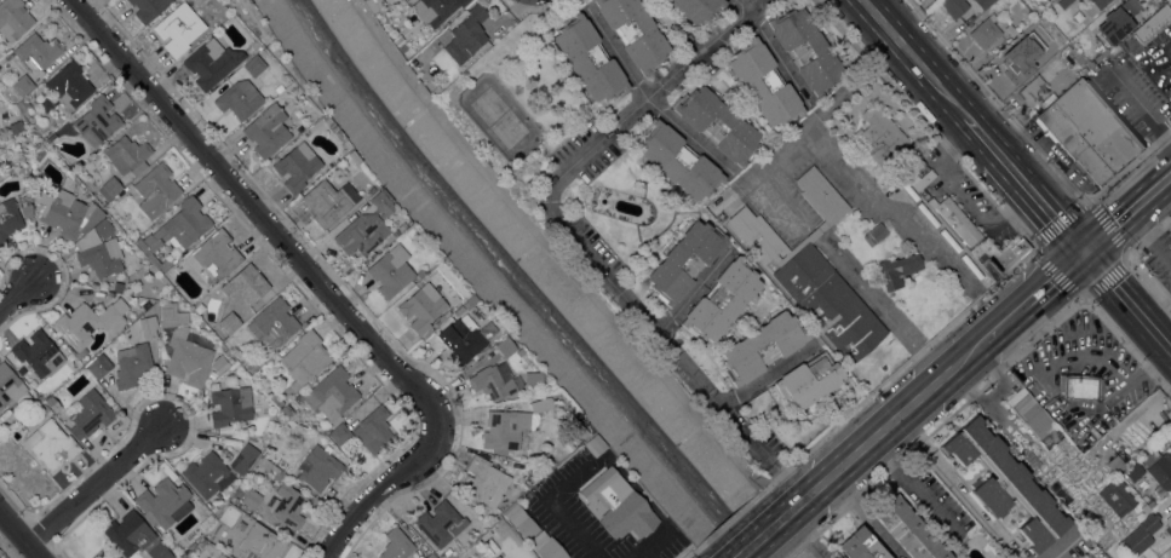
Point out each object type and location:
building: (411, 0)
building: (983, 2)
building: (373, 4)
building: (1060, 5)
building: (954, 6)
building: (1092, 6)
building: (148, 8)
building: (699, 8)
building: (434, 10)
building: (13, 18)
building: (1117, 19)
building: (1154, 22)
building: (178, 28)
building: (985, 30)
building: (1011, 30)
building: (635, 31)
building: (466, 35)
building: (1023, 36)
building: (396, 40)
building: (1132, 40)
building: (1055, 45)
road: (771, 47)
building: (804, 47)
building: (40, 52)
building: (8, 54)
building: (1093, 56)
building: (590, 58)
road: (914, 58)
building: (211, 63)
building: (1018, 63)
building: (253, 65)
road: (857, 75)
building: (764, 82)
building: (22, 84)
building: (67, 87)
building: (277, 87)
building: (1033, 91)
building: (239, 98)
road: (647, 98)
building: (23, 105)
building: (326, 119)
road: (810, 119)
building: (96, 121)
building: (717, 123)
building: (16, 126)
building: (332, 126)
building: (266, 130)
building: (1090, 131)
building: (879, 133)
building: (339, 134)
building: (127, 155)
building: (346, 155)
building: (678, 160)
building: (295, 166)
road: (752, 173)
road: (1024, 184)
building: (109, 188)
building: (155, 190)
building: (932, 190)
building: (821, 194)
building: (328, 201)
building: (380, 201)
building: (27, 209)
road: (257, 209)
building: (67, 212)
road: (1126, 213)
road: (909, 214)
building: (955, 218)
building: (8, 219)
road: (559, 223)
building: (400, 225)
building: (104, 228)
road: (805, 229)
building: (1170, 229)
building: (176, 231)
building: (877, 231)
building: (361, 232)
road: (813, 234)
building: (757, 235)
road: (1149, 236)
building: (804, 240)
building: (1018, 247)
traffic signals: (1084, 253)
building: (216, 254)
building: (982, 255)
building: (102, 257)
building: (684, 260)
building: (1001, 260)
road: (564, 264)
building: (897, 269)
building: (390, 270)
building: (419, 272)
building: (117, 286)
road: (982, 292)
road: (17, 294)
road: (1033, 295)
building: (240, 297)
road: (1080, 297)
building: (721, 300)
road: (1127, 300)
building: (467, 301)
building: (828, 301)
road: (1156, 303)
building: (421, 306)
road: (879, 306)
building: (171, 313)
building: (441, 316)
building: (88, 322)
building: (272, 322)
building: (463, 338)
building: (504, 346)
building: (760, 346)
building: (517, 351)
building: (38, 352)
building: (185, 356)
building: (304, 357)
building: (219, 362)
building: (99, 364)
building: (132, 364)
railway: (959, 370)
building: (212, 374)
building: (530, 376)
building: (494, 380)
building: (809, 380)
building: (1061, 382)
building: (11, 386)
building: (213, 386)
building: (1081, 386)
building: (331, 393)
building: (298, 397)
building: (276, 399)
building: (53, 403)
building: (230, 404)
building: (539, 404)
building: (41, 409)
building: (287, 409)
building: (1031, 412)
building: (87, 413)
road: (888, 425)
building: (504, 427)
building: (575, 427)
building: (373, 428)
building: (340, 433)
building: (247, 435)
building: (51, 443)
building: (593, 444)
building: (266, 453)
building: (243, 458)
building: (1115, 464)
building: (318, 467)
building: (1158, 468)
building: (1133, 471)
building: (207, 473)
building: (282, 474)
building: (534, 474)
road: (787, 479)
building: (483, 481)
building: (527, 481)
building: (1005, 483)
road: (92, 485)
road: (380, 487)
road: (957, 488)
building: (237, 493)
building: (1117, 494)
building: (251, 497)
building: (161, 501)
building: (287, 504)
building: (616, 504)
building: (1150, 504)
road: (863, 517)
building: (1169, 518)
building: (521, 519)
building: (441, 523)
building: (1148, 528)
building: (1170, 528)
building: (908, 530)
road: (763, 533)
building: (1170, 534)
road: (19, 535)
road: (807, 535)
building: (134, 536)
building: (212, 537)
building: (258, 542)
building: (396, 543)
building: (861, 545)
building: (547, 546)
road: (1063, 547)
building: (220, 556)
building: (430, 556)
building: (206, 557)

